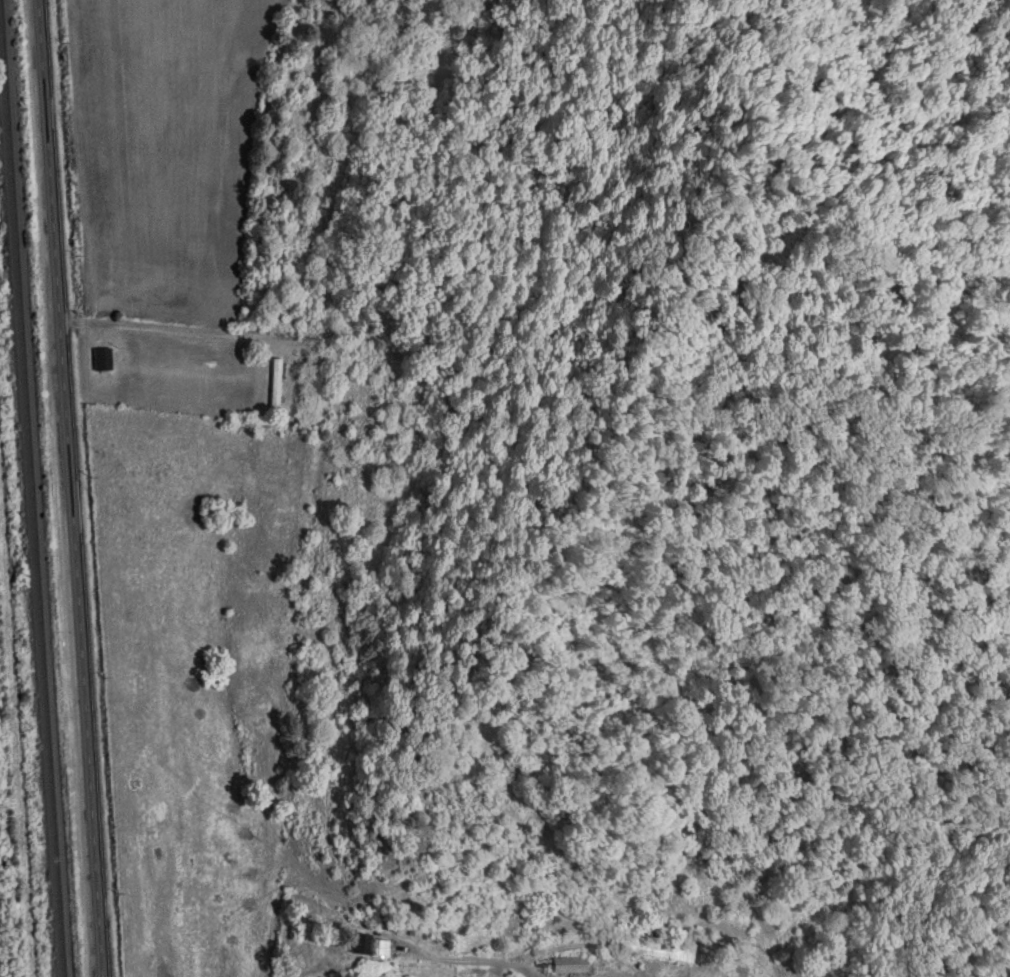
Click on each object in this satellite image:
road: (173, 326)
building: (104, 358)
building: (276, 382)
road: (68, 488)
railway: (29, 543)
road: (892, 842)
building: (370, 945)
building: (653, 945)
building: (571, 964)
building: (516, 974)

